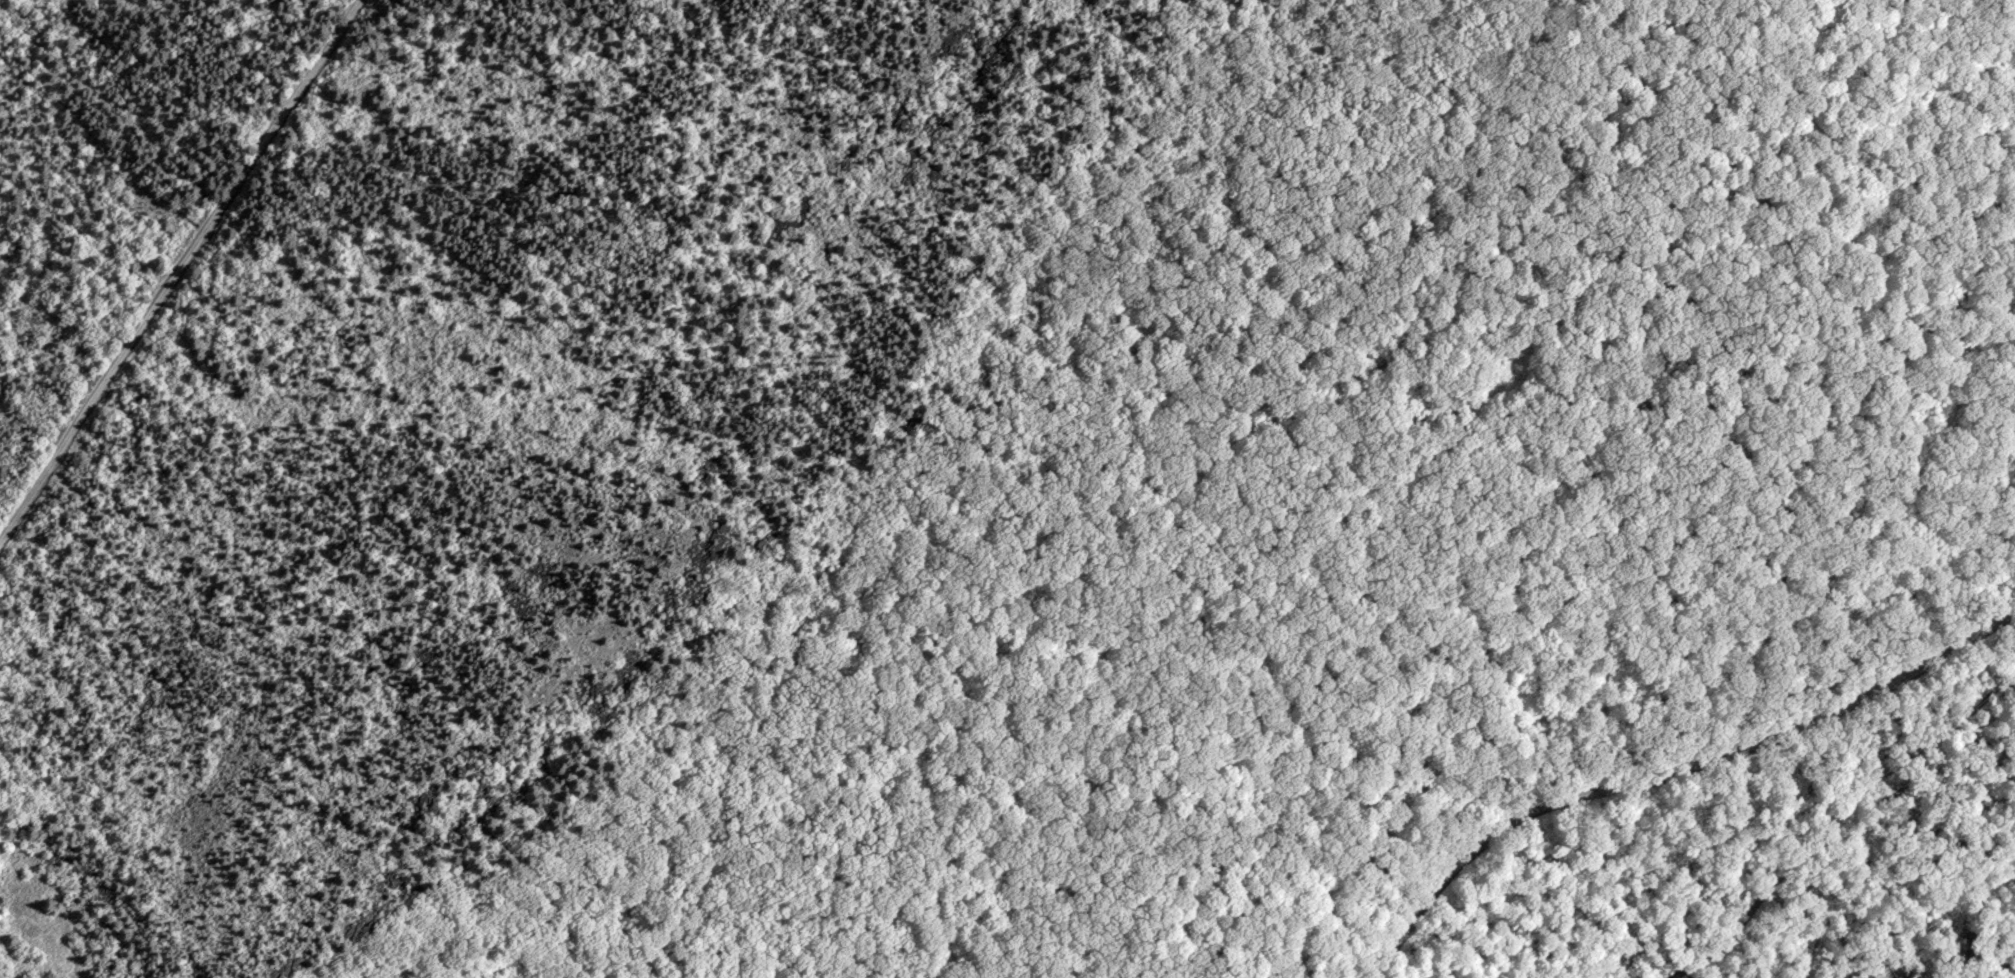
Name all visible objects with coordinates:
road: (179, 272)
road: (1671, 772)

